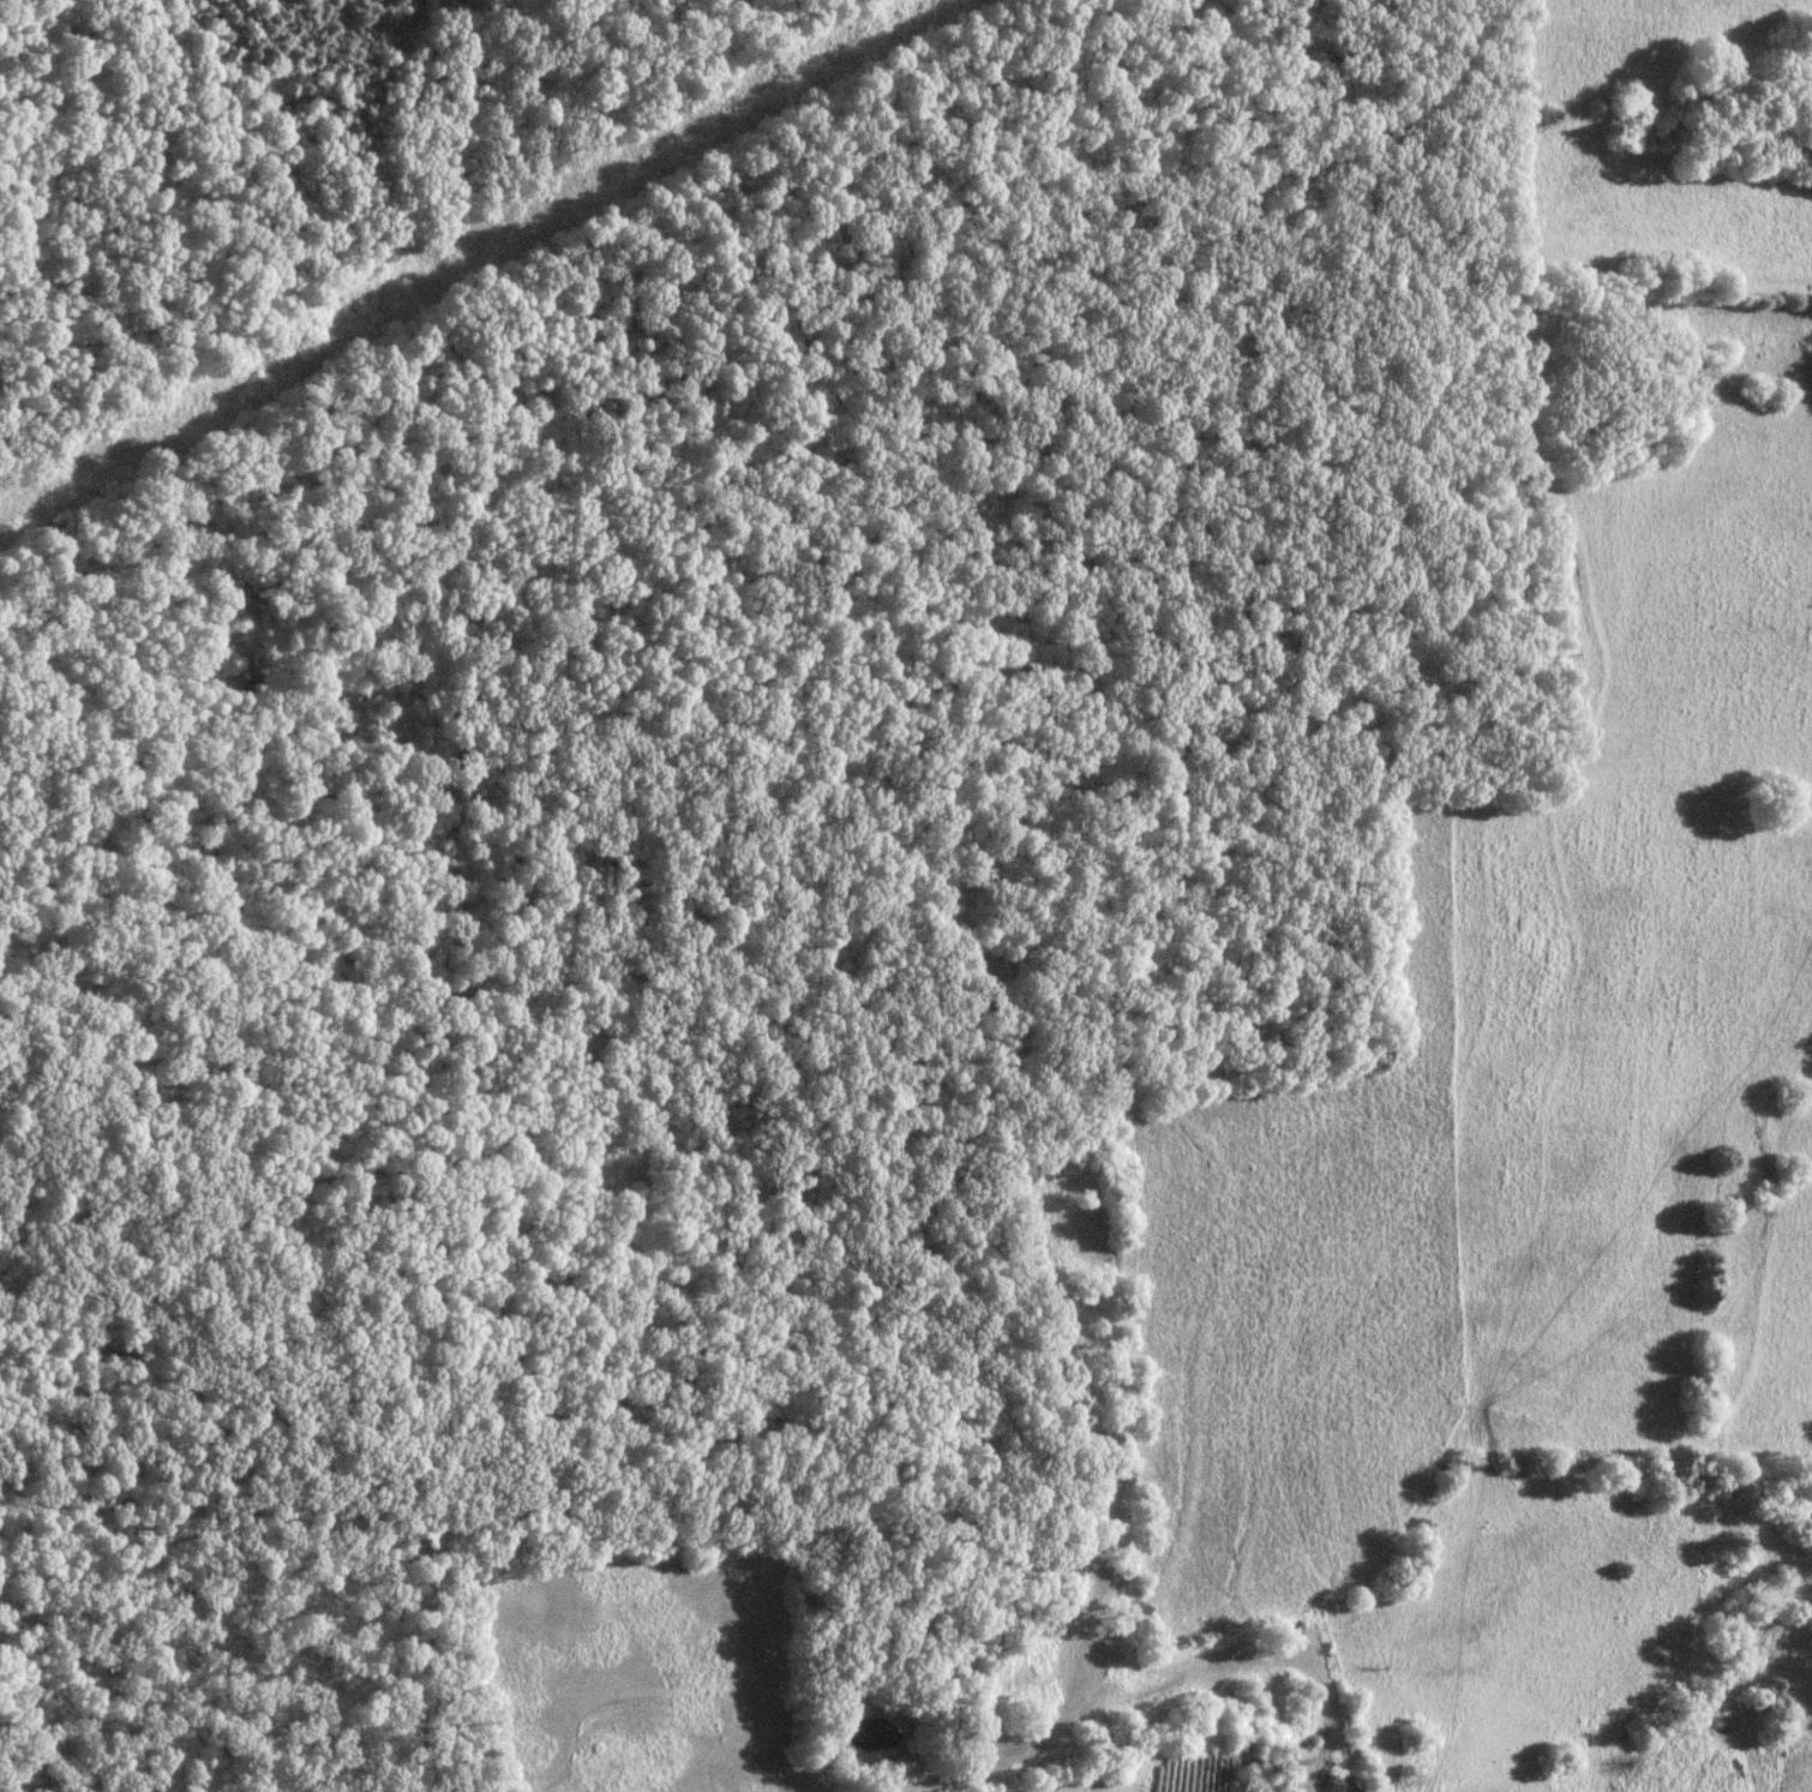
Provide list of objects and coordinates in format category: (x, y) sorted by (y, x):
building: (1340, 1785)

